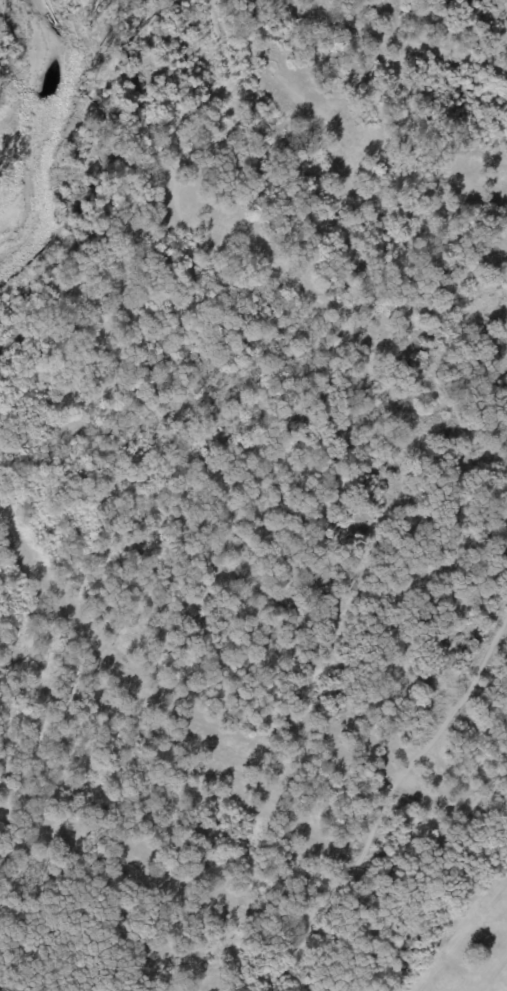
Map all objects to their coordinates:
road: (389, 36)
road: (192, 266)
park: (247, 483)
road: (387, 802)
park: (460, 928)

